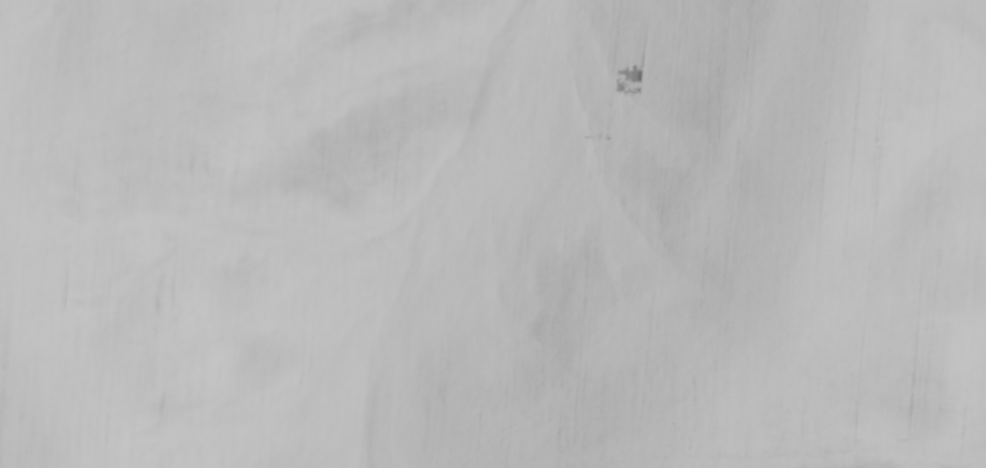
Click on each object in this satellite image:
building: (794, 4)

